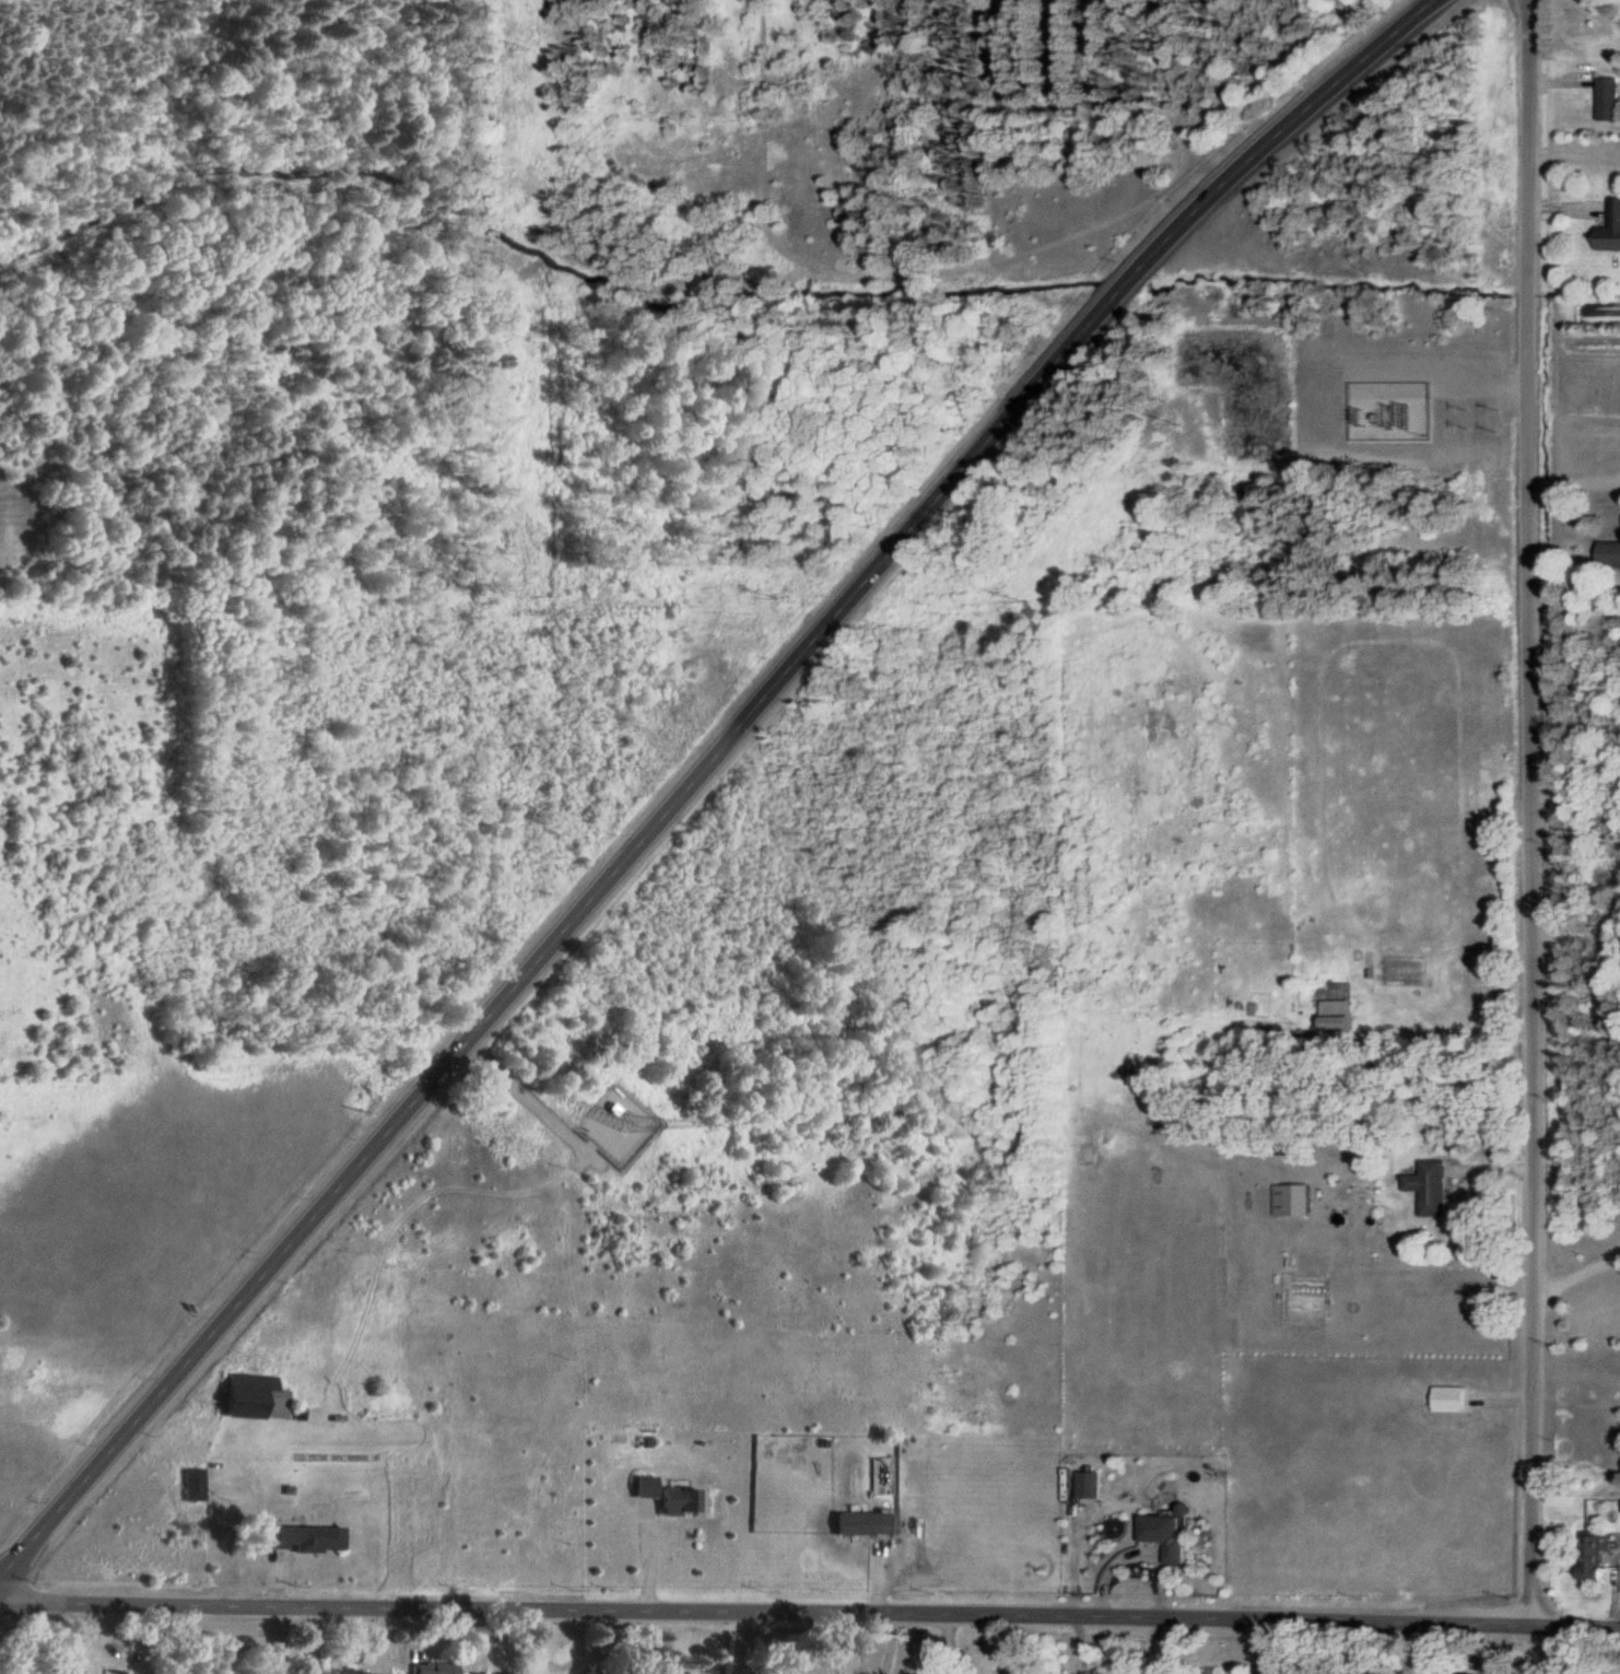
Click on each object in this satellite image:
building: (1607, 97)
building: (1611, 227)
road: (1571, 483)
building: (1609, 551)
road: (701, 769)
road: (1524, 810)
building: (1336, 1015)
building: (1431, 1186)
building: (1296, 1199)
road: (1572, 1276)
building: (254, 1395)
building: (1448, 1397)
building: (192, 1483)
building: (1089, 1487)
building: (677, 1498)
building: (860, 1522)
building: (1167, 1533)
building: (303, 1536)
building: (1592, 1556)
road: (810, 1611)
road: (281, 1638)
road: (856, 1642)
road: (1079, 1643)
road: (1164, 1644)
building: (432, 1667)
building: (115, 1672)
building: (357, 1672)
building: (470, 1672)

